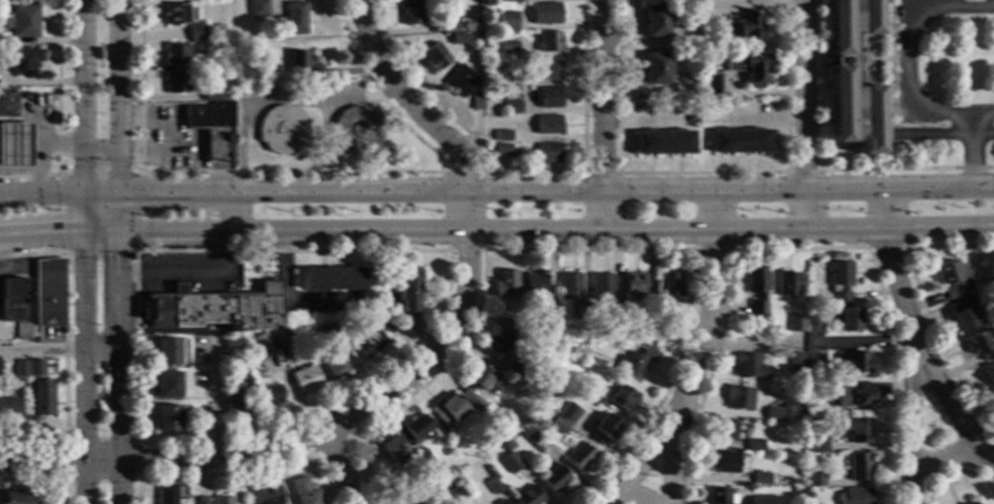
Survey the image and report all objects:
building: (512, 1)
road: (972, 4)
building: (258, 9)
building: (708, 11)
building: (411, 12)
building: (175, 14)
building: (546, 14)
building: (292, 20)
building: (507, 21)
building: (655, 21)
building: (22, 22)
building: (488, 26)
building: (450, 27)
building: (743, 27)
building: (196, 33)
building: (458, 39)
building: (548, 42)
building: (508, 50)
road: (908, 52)
building: (174, 54)
road: (820, 56)
building: (434, 57)
building: (20, 59)
road: (880, 59)
parking lot: (905, 62)
building: (210, 63)
building: (302, 65)
building: (545, 69)
building: (655, 69)
building: (748, 69)
building: (852, 77)
building: (507, 78)
building: (459, 81)
building: (175, 83)
building: (709, 84)
road: (888, 84)
building: (210, 95)
road: (789, 95)
road: (86, 96)
road: (116, 96)
road: (583, 96)
road: (619, 96)
road: (802, 96)
building: (548, 97)
building: (476, 101)
building: (7, 105)
building: (511, 107)
road: (984, 114)
building: (209, 115)
road: (599, 115)
building: (693, 120)
building: (547, 125)
road: (941, 125)
building: (281, 130)
building: (356, 131)
building: (502, 136)
road: (945, 136)
building: (740, 141)
building: (663, 143)
road: (884, 144)
building: (14, 148)
building: (502, 150)
road: (122, 152)
road: (974, 152)
building: (548, 153)
traffic signals: (86, 167)
road: (567, 173)
road: (32, 175)
road: (984, 188)
road: (927, 189)
road: (841, 191)
traffic signals: (144, 193)
road: (460, 194)
road: (58, 195)
road: (880, 209)
road: (803, 211)
road: (86, 213)
road: (232, 213)
road: (842, 229)
road: (937, 229)
road: (445, 232)
road: (42, 233)
traffic signals: (60, 233)
road: (885, 247)
road: (798, 248)
road: (713, 249)
road: (136, 250)
road: (579, 250)
road: (466, 251)
traffic signals: (119, 257)
road: (466, 269)
road: (194, 273)
building: (953, 279)
building: (332, 280)
building: (840, 281)
building: (534, 283)
building: (505, 284)
building: (633, 284)
building: (787, 284)
building: (569, 286)
building: (670, 286)
building: (601, 287)
building: (409, 289)
building: (757, 291)
building: (48, 292)
building: (13, 300)
road: (923, 305)
building: (214, 308)
building: (583, 311)
building: (615, 311)
building: (642, 313)
building: (550, 314)
building: (965, 314)
building: (376, 319)
building: (849, 319)
building: (670, 320)
building: (797, 323)
building: (814, 324)
building: (507, 325)
building: (293, 330)
building: (22, 331)
building: (328, 334)
building: (281, 339)
building: (232, 342)
building: (369, 343)
building: (499, 343)
building: (981, 344)
road: (65, 345)
road: (119, 348)
building: (566, 349)
road: (701, 351)
road: (60, 352)
building: (167, 352)
building: (263, 352)
road: (919, 358)
building: (635, 363)
building: (815, 363)
building: (797, 364)
building: (860, 364)
building: (513, 366)
building: (748, 366)
building: (21, 368)
building: (35, 368)
road: (85, 368)
building: (334, 368)
road: (383, 368)
building: (989, 375)
building: (306, 379)
building: (479, 384)
building: (167, 385)
building: (269, 396)
building: (594, 396)
building: (856, 396)
building: (739, 397)
building: (42, 398)
building: (623, 398)
road: (214, 399)
building: (235, 400)
building: (9, 408)
building: (448, 409)
building: (569, 413)
building: (773, 413)
building: (167, 419)
building: (559, 426)
building: (416, 427)
building: (606, 427)
road: (913, 428)
building: (797, 429)
building: (726, 430)
building: (854, 431)
road: (347, 435)
building: (530, 435)
building: (819, 445)
building: (754, 446)
building: (394, 448)
building: (580, 457)
building: (422, 459)
road: (941, 460)
road: (165, 462)
building: (725, 462)
building: (511, 463)
road: (641, 466)
building: (859, 467)
road: (240, 470)
road: (955, 471)
road: (65, 477)
building: (555, 479)
building: (761, 479)
building: (815, 479)
road: (43, 482)
building: (419, 486)
building: (494, 486)
building: (303, 492)
building: (166, 494)
building: (459, 494)
building: (266, 496)
building: (528, 496)
building: (718, 496)
building: (855, 496)
road: (630, 497)
building: (16, 498)
building: (221, 499)
building: (762, 500)
building: (201, 501)
building: (501, 502)
building: (970, 503)

